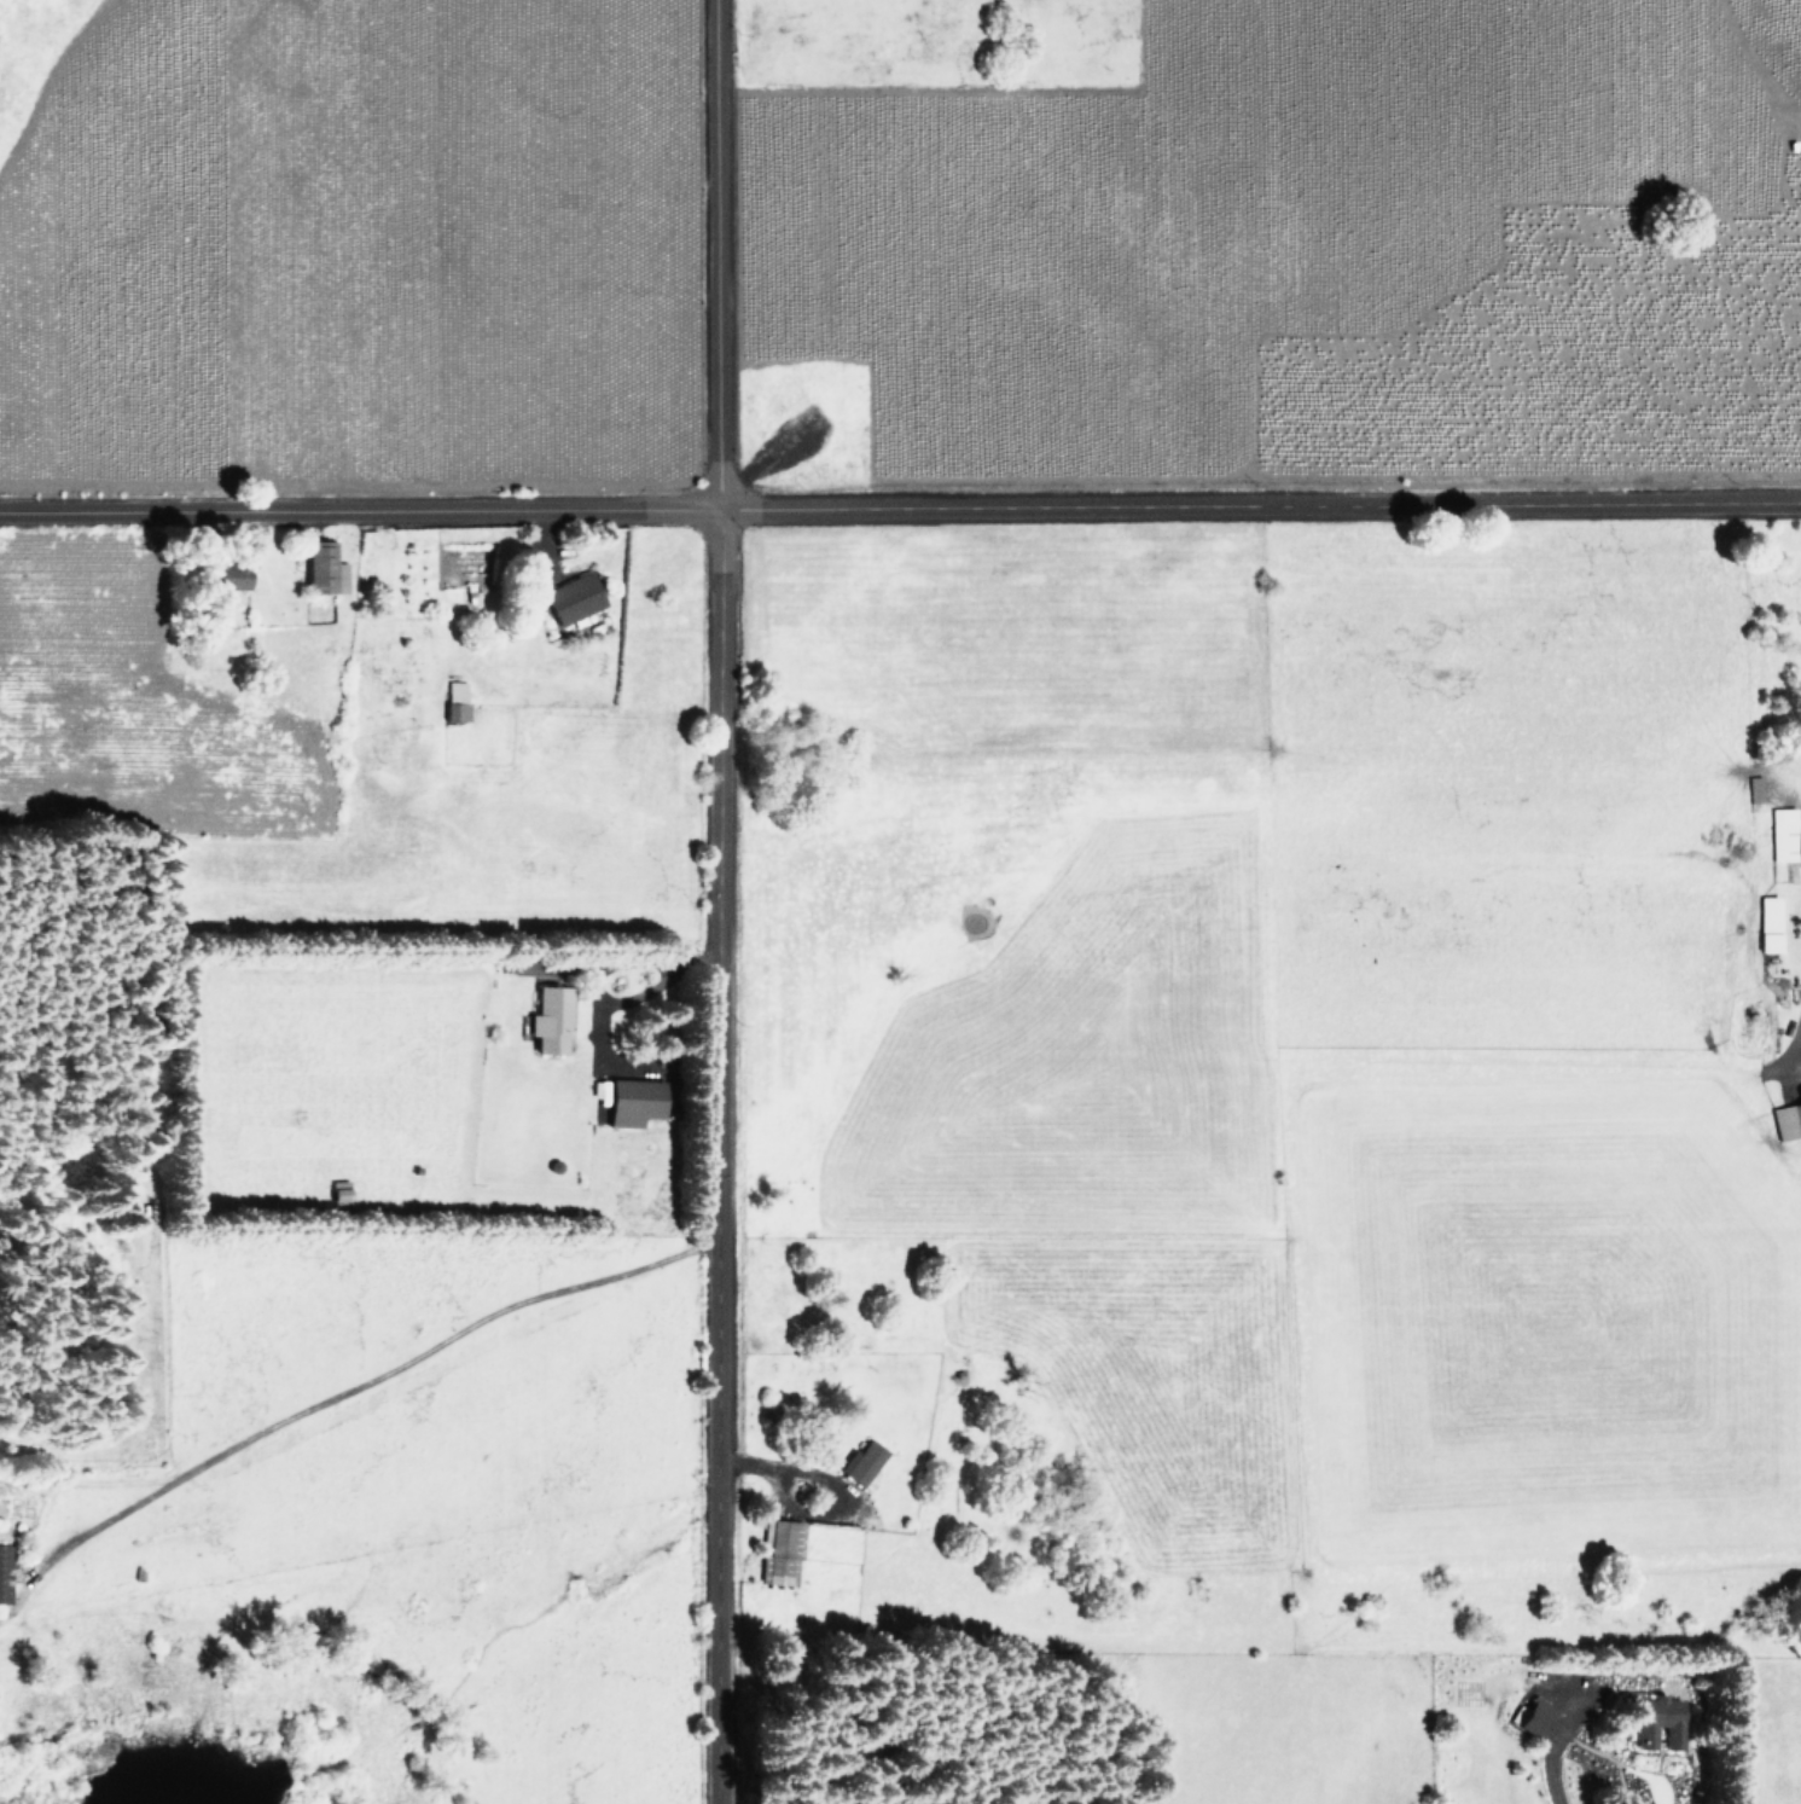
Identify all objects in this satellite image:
road: (725, 256)
road: (1263, 510)
road: (362, 514)
building: (316, 564)
building: (571, 596)
building: (453, 698)
building: (1753, 788)
building: (1784, 833)
building: (1765, 922)
building: (547, 1017)
building: (631, 1100)
building: (1787, 1119)
road: (719, 1159)
road: (397, 1332)
building: (860, 1462)
road: (91, 1498)
building: (777, 1550)
building: (2, 1570)
building: (1530, 1716)
building: (1658, 1723)

